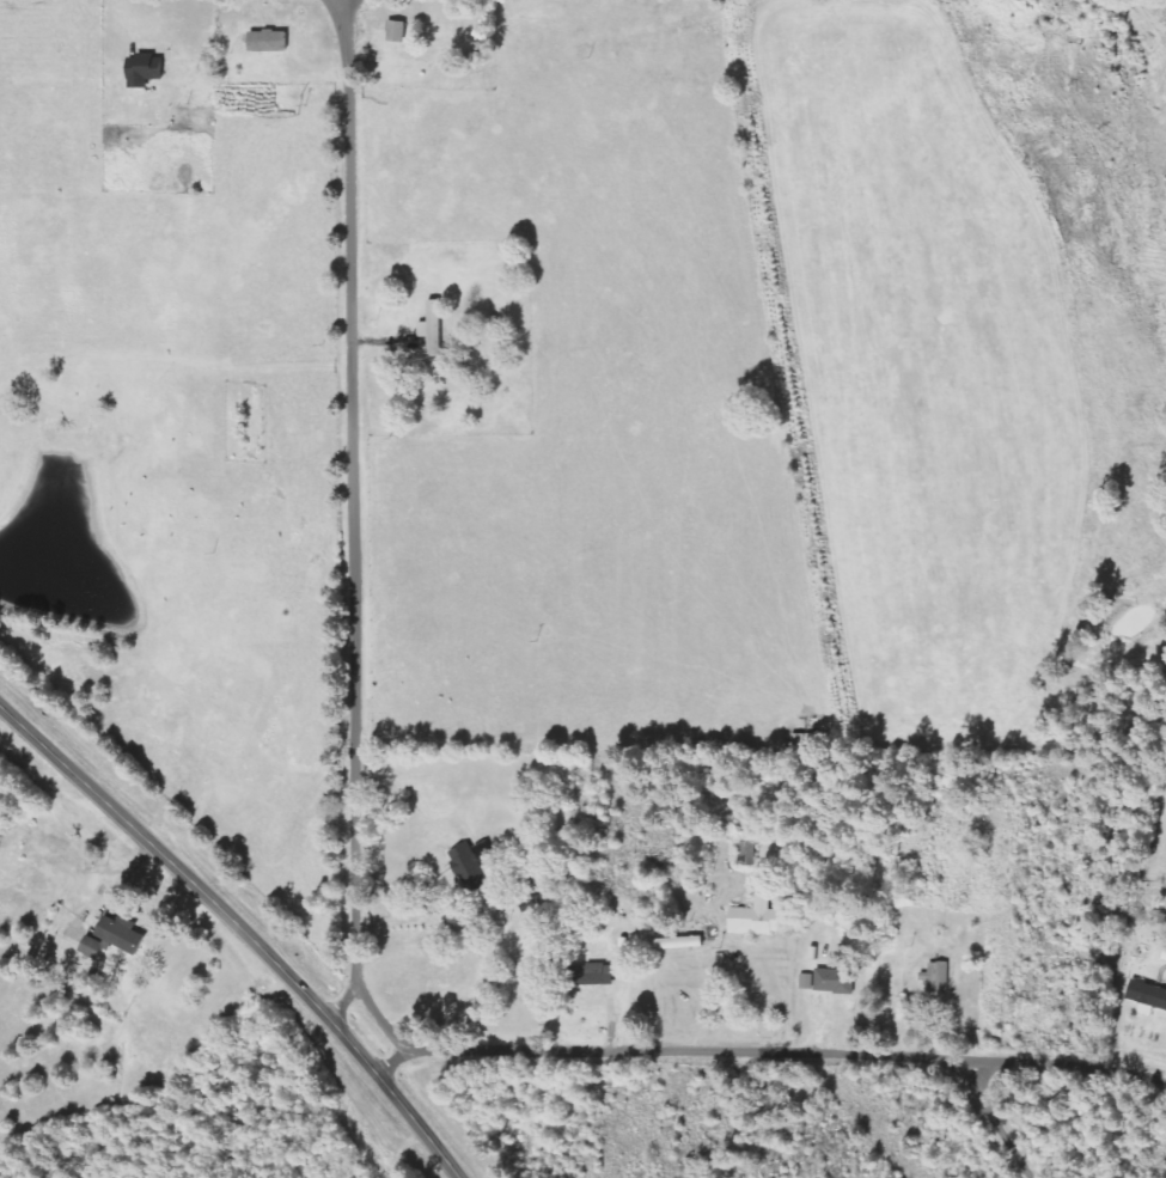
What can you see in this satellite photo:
building: (397, 32)
building: (269, 41)
building: (147, 71)
building: (434, 329)
building: (470, 869)
building: (758, 918)
road: (243, 928)
road: (322, 930)
building: (122, 934)
building: (674, 944)
building: (93, 950)
building: (594, 975)
building: (836, 982)
building: (1148, 995)
road: (338, 1009)
road: (989, 1140)

